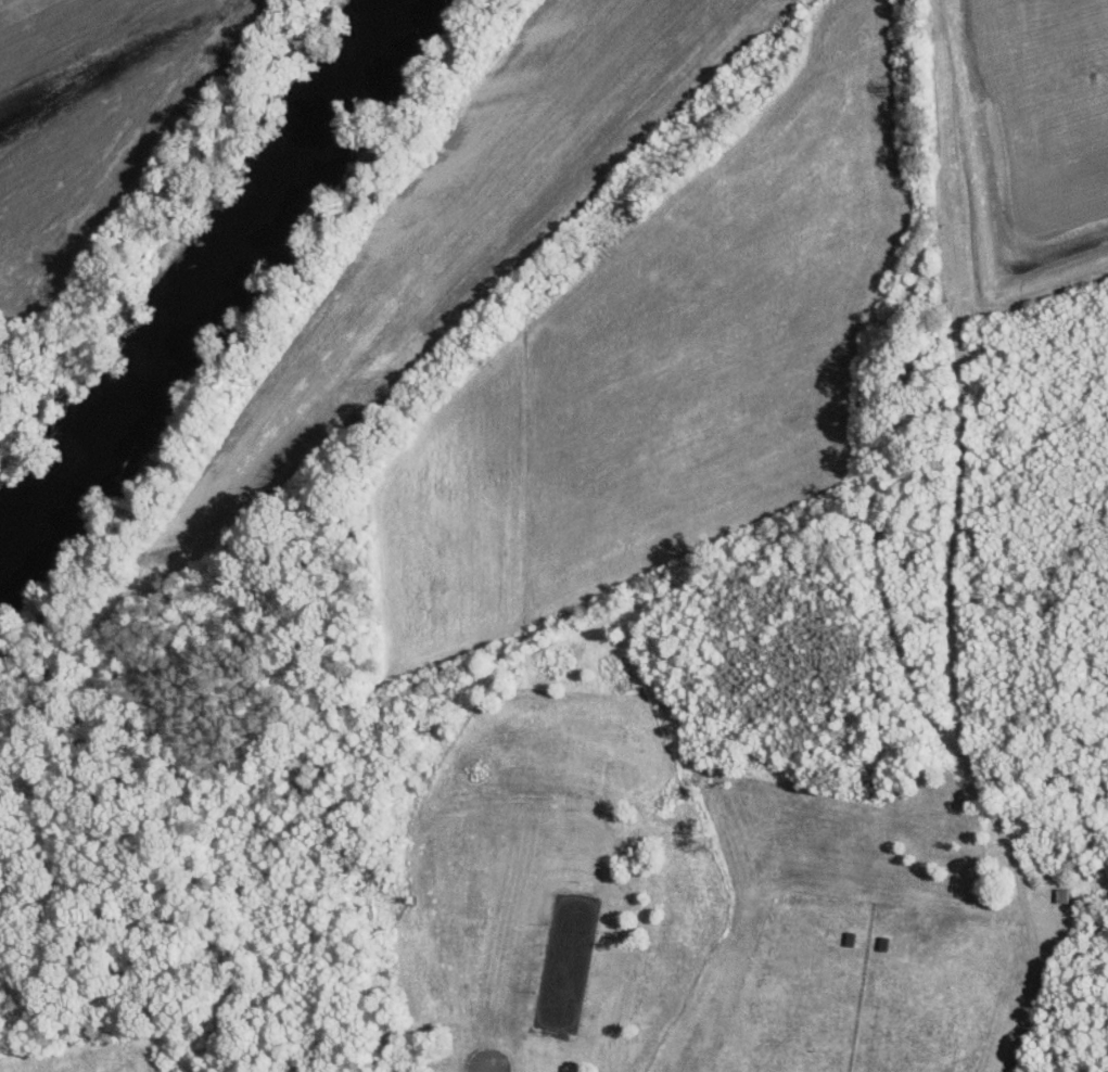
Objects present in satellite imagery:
river: (200, 267)

